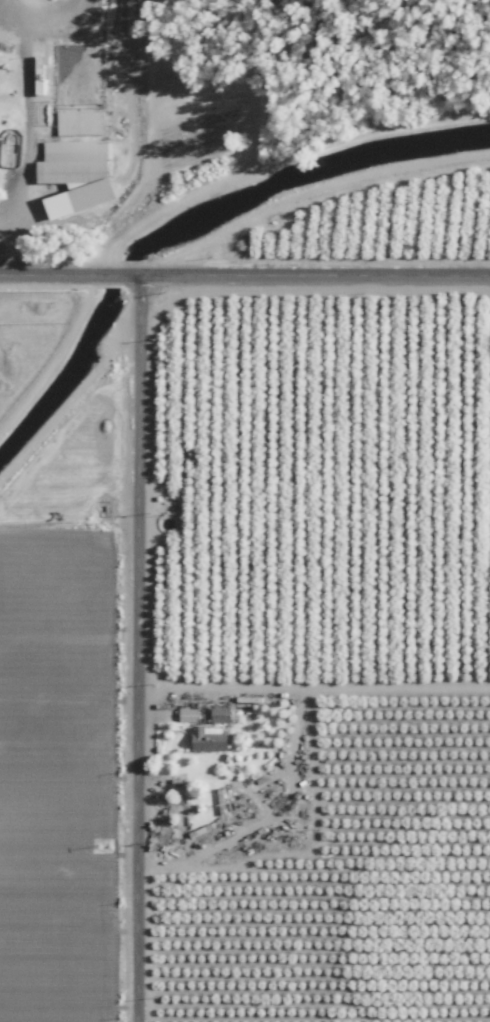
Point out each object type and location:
road: (255, 91)
road: (271, 163)
building: (77, 173)
road: (305, 186)
road: (245, 274)
road: (136, 648)
crop: (71, 706)
building: (195, 712)
building: (220, 714)
building: (208, 738)

